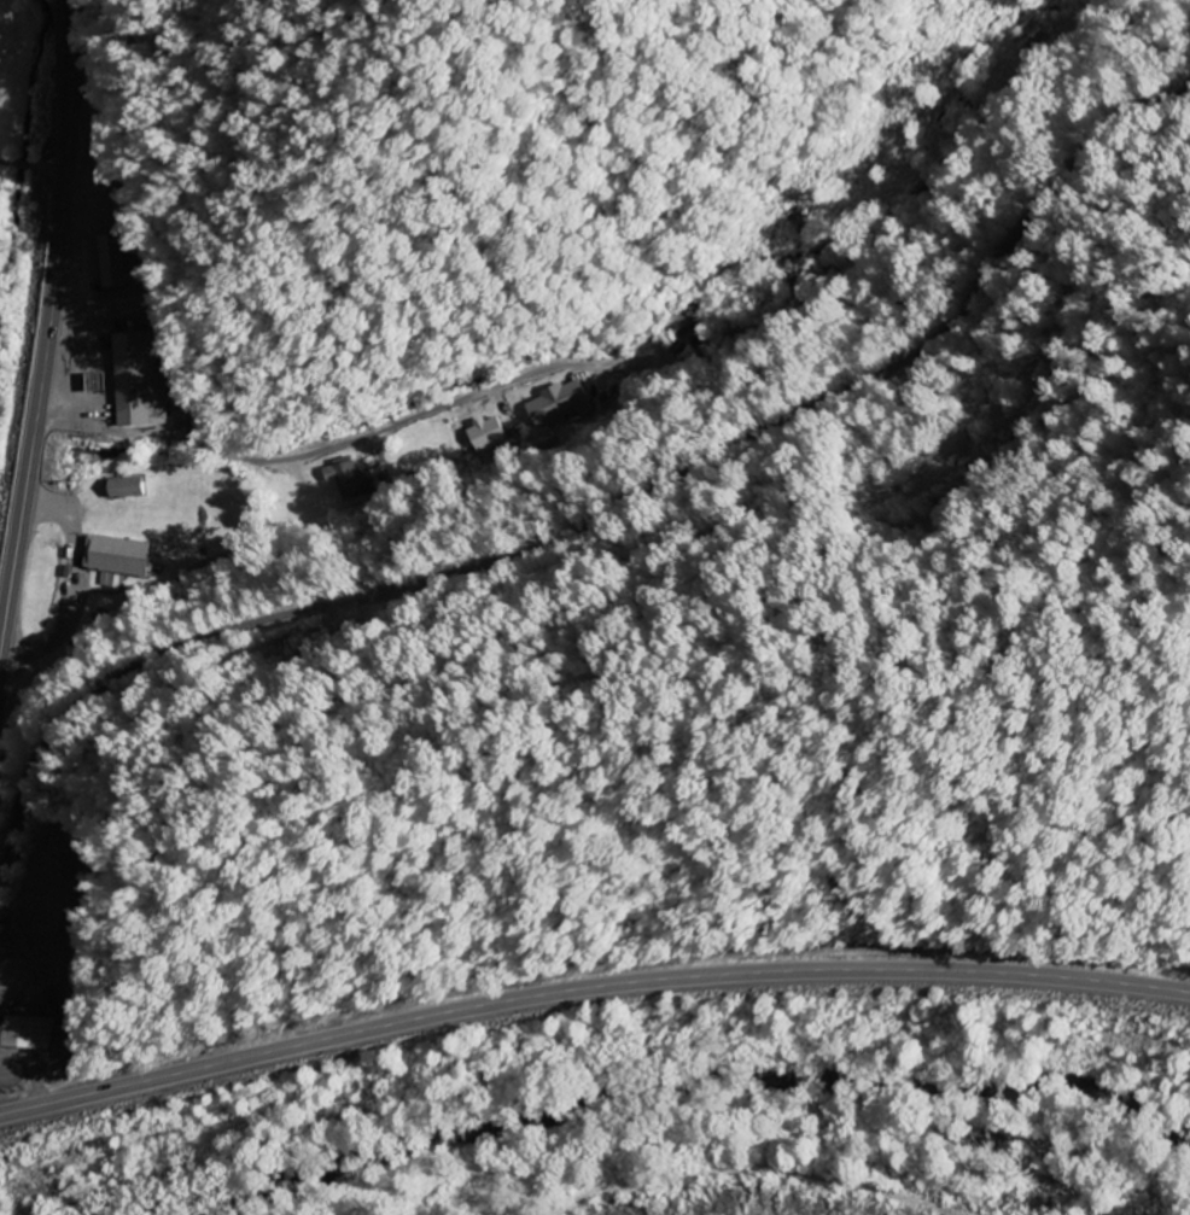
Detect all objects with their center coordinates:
building: (104, 133)
building: (111, 262)
building: (800, 288)
road: (47, 326)
building: (689, 339)
building: (140, 382)
building: (558, 404)
building: (352, 481)
building: (222, 487)
building: (127, 489)
road: (601, 518)
building: (118, 556)
road: (589, 985)
building: (23, 1034)

